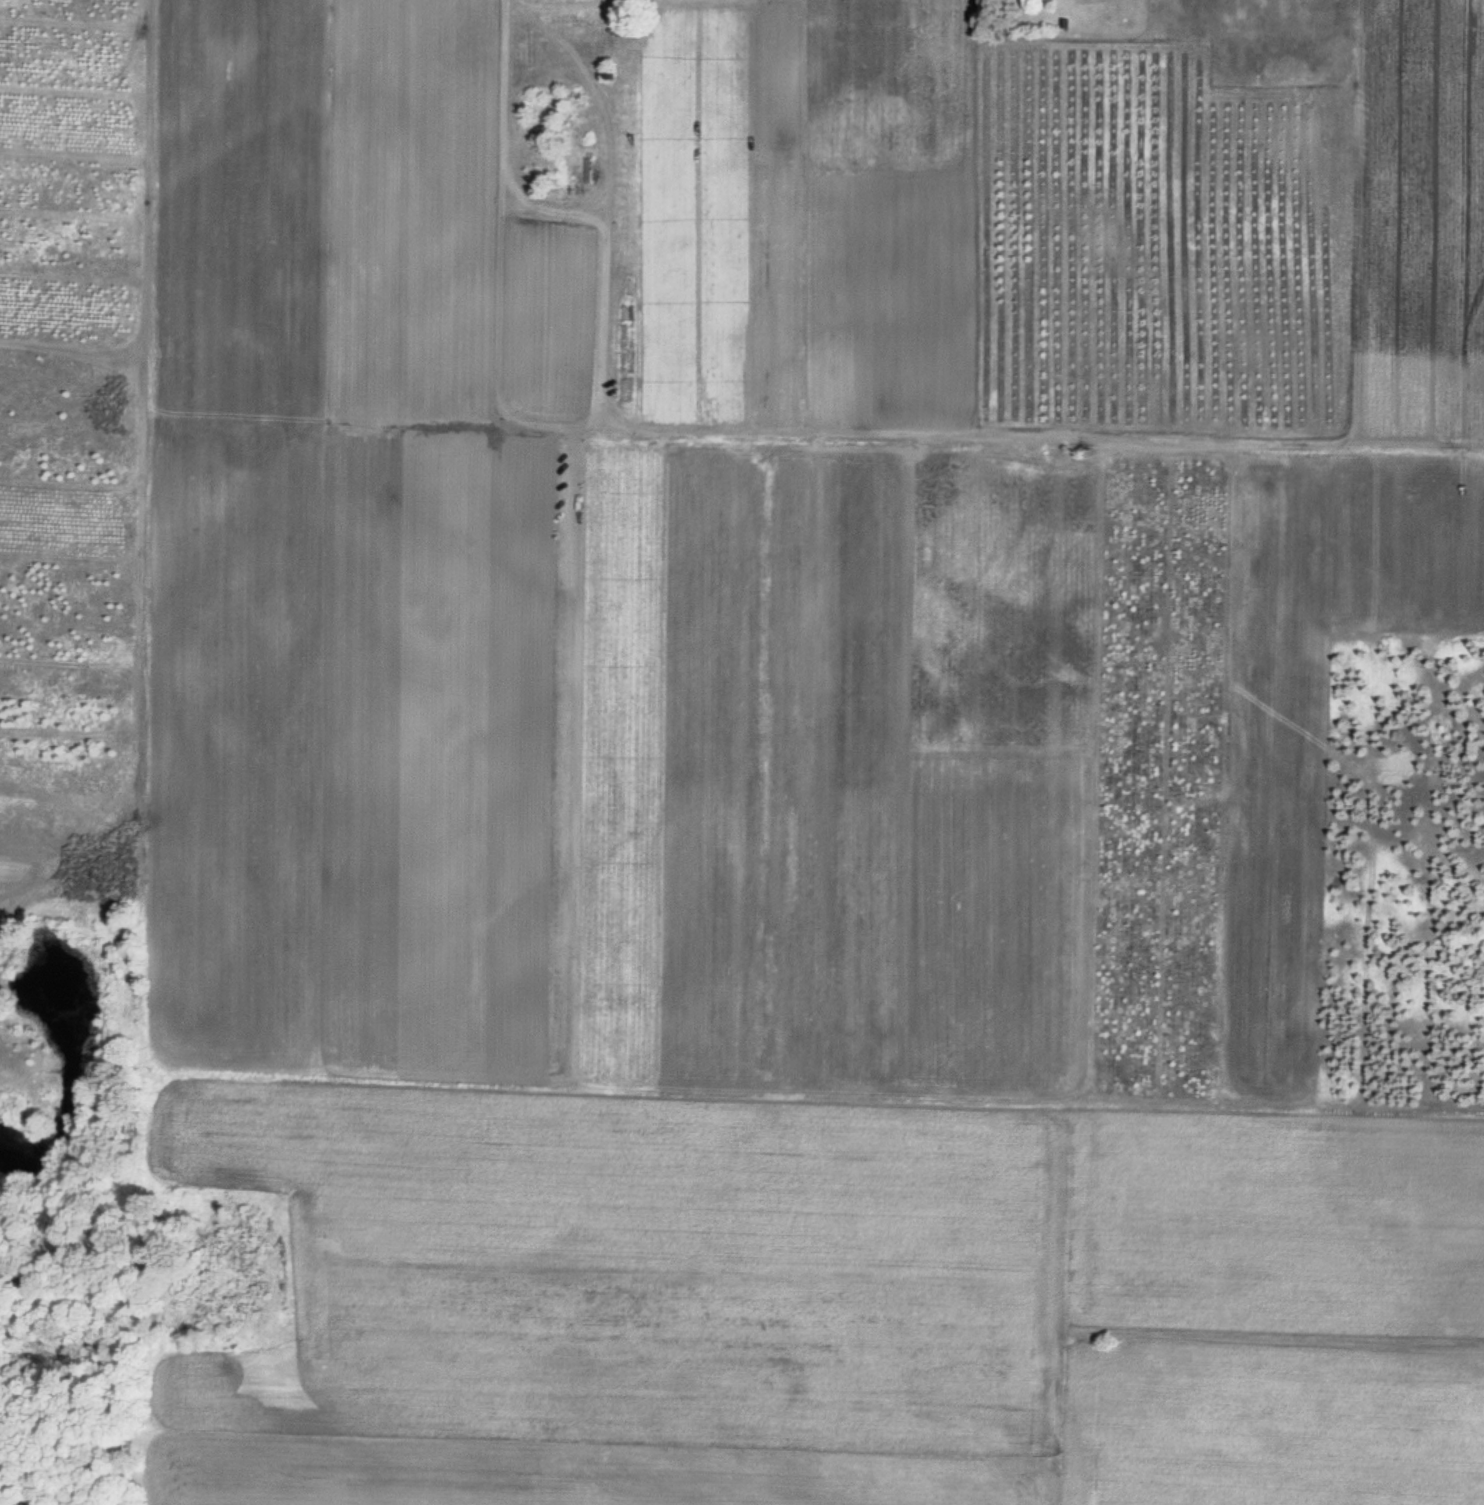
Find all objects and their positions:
building: (585, 174)

